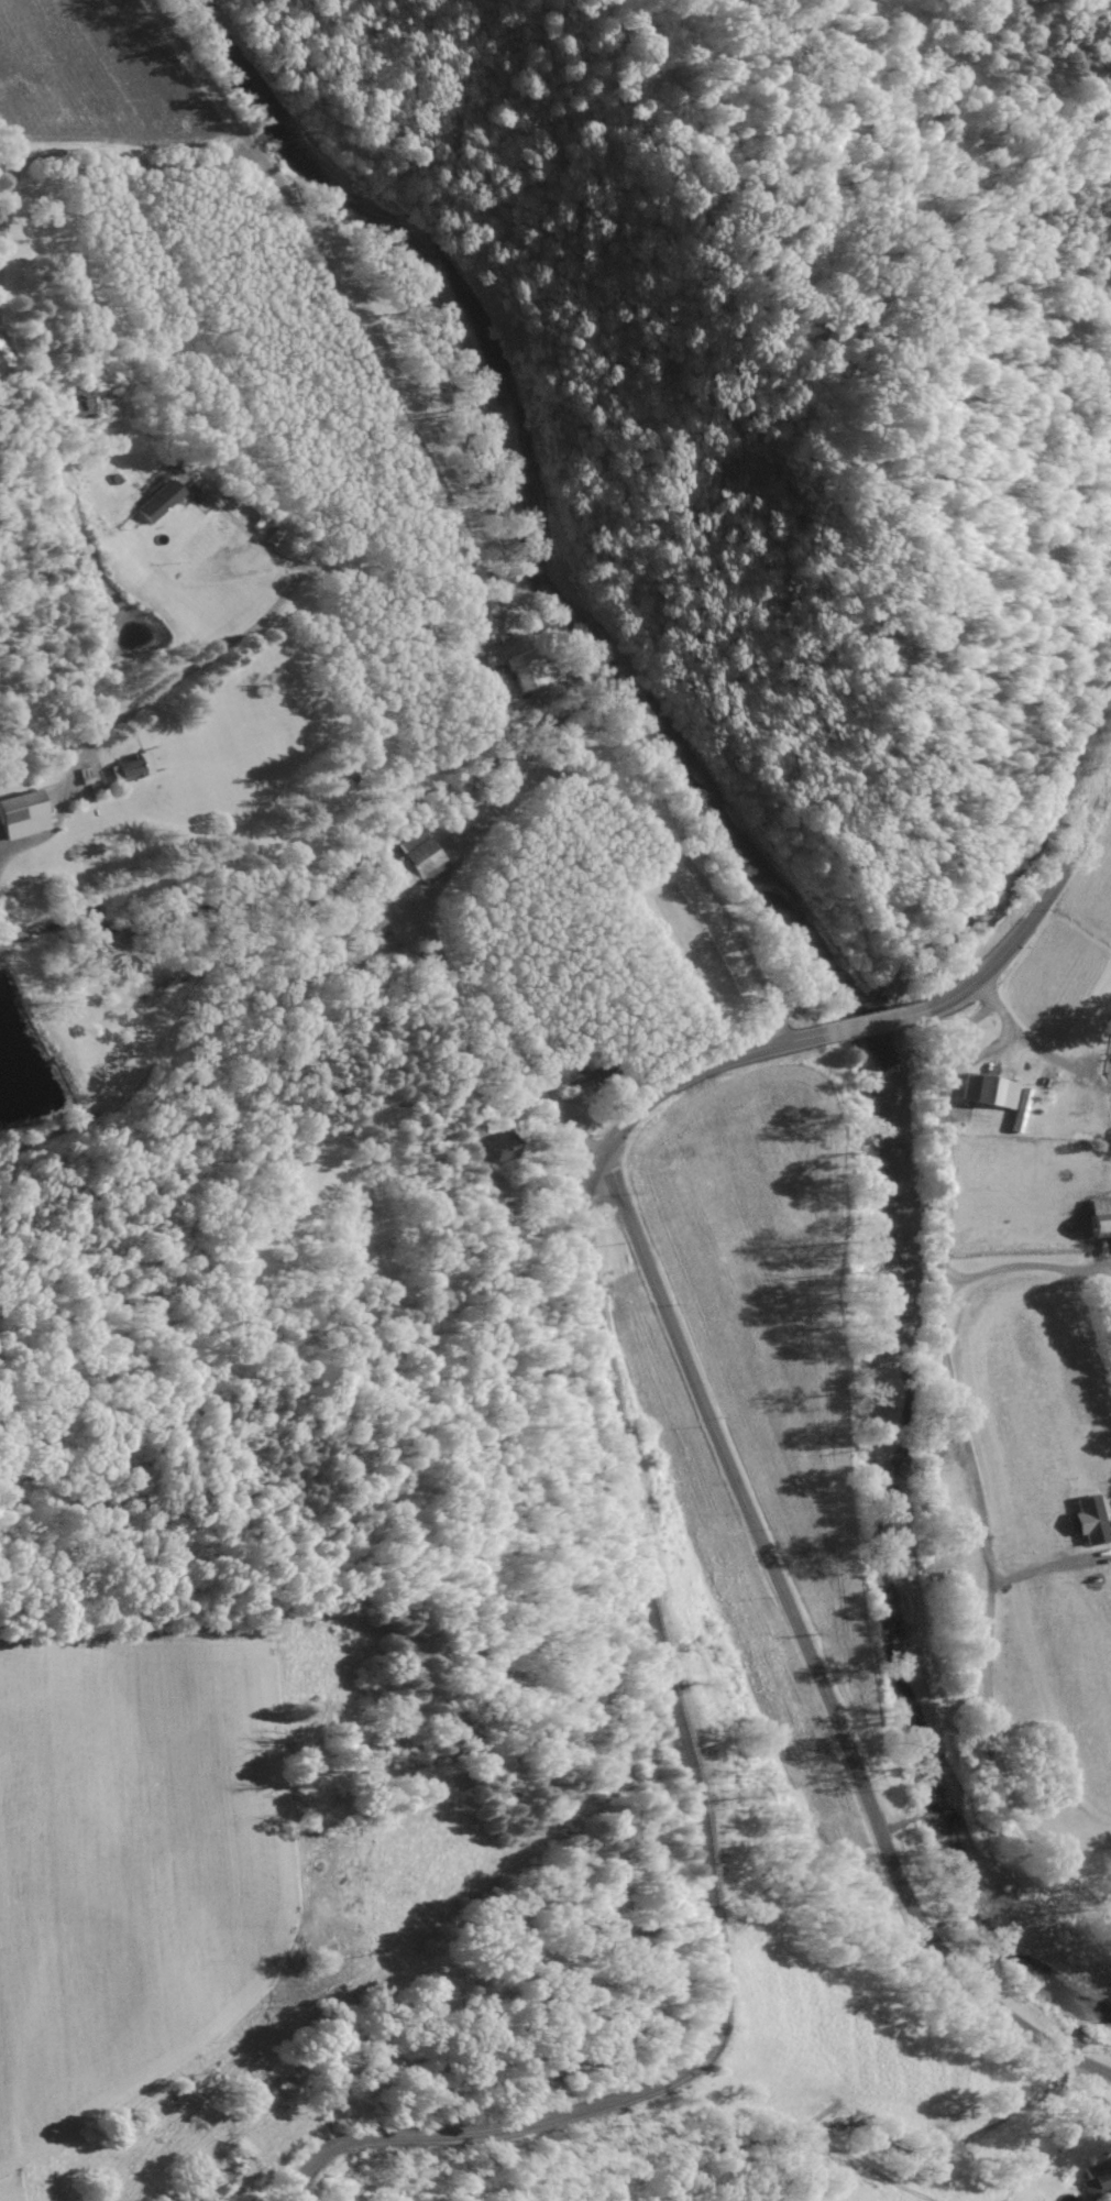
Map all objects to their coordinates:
building: (1, 360)
building: (157, 502)
road: (471, 543)
road: (223, 580)
road: (387, 599)
building: (525, 670)
road: (190, 671)
building: (128, 769)
building: (22, 814)
road: (472, 826)
building: (413, 861)
road: (892, 1021)
road: (1013, 1027)
building: (1046, 1082)
building: (988, 1092)
building: (498, 1151)
building: (1101, 1220)
building: (1090, 1522)
road: (807, 1660)
road: (691, 1831)
building: (1097, 2181)

